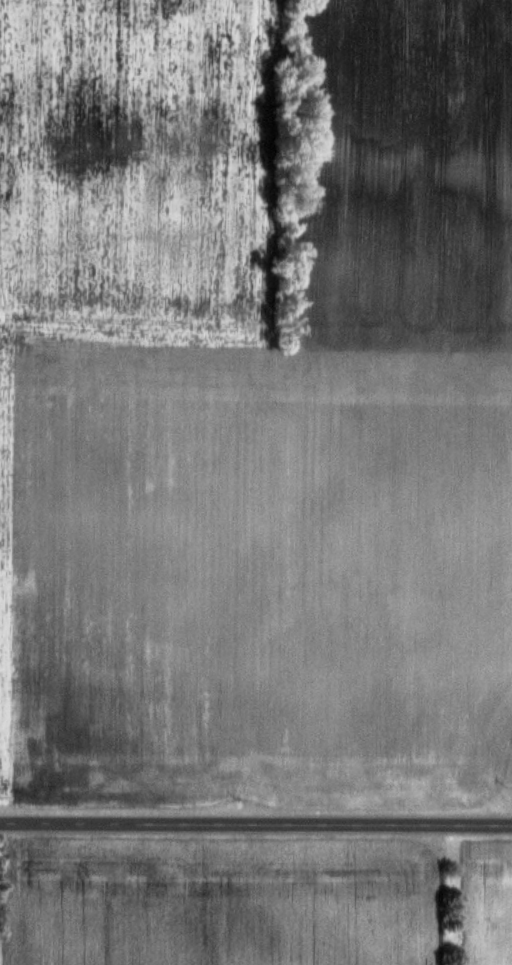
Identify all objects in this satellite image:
road: (256, 826)

